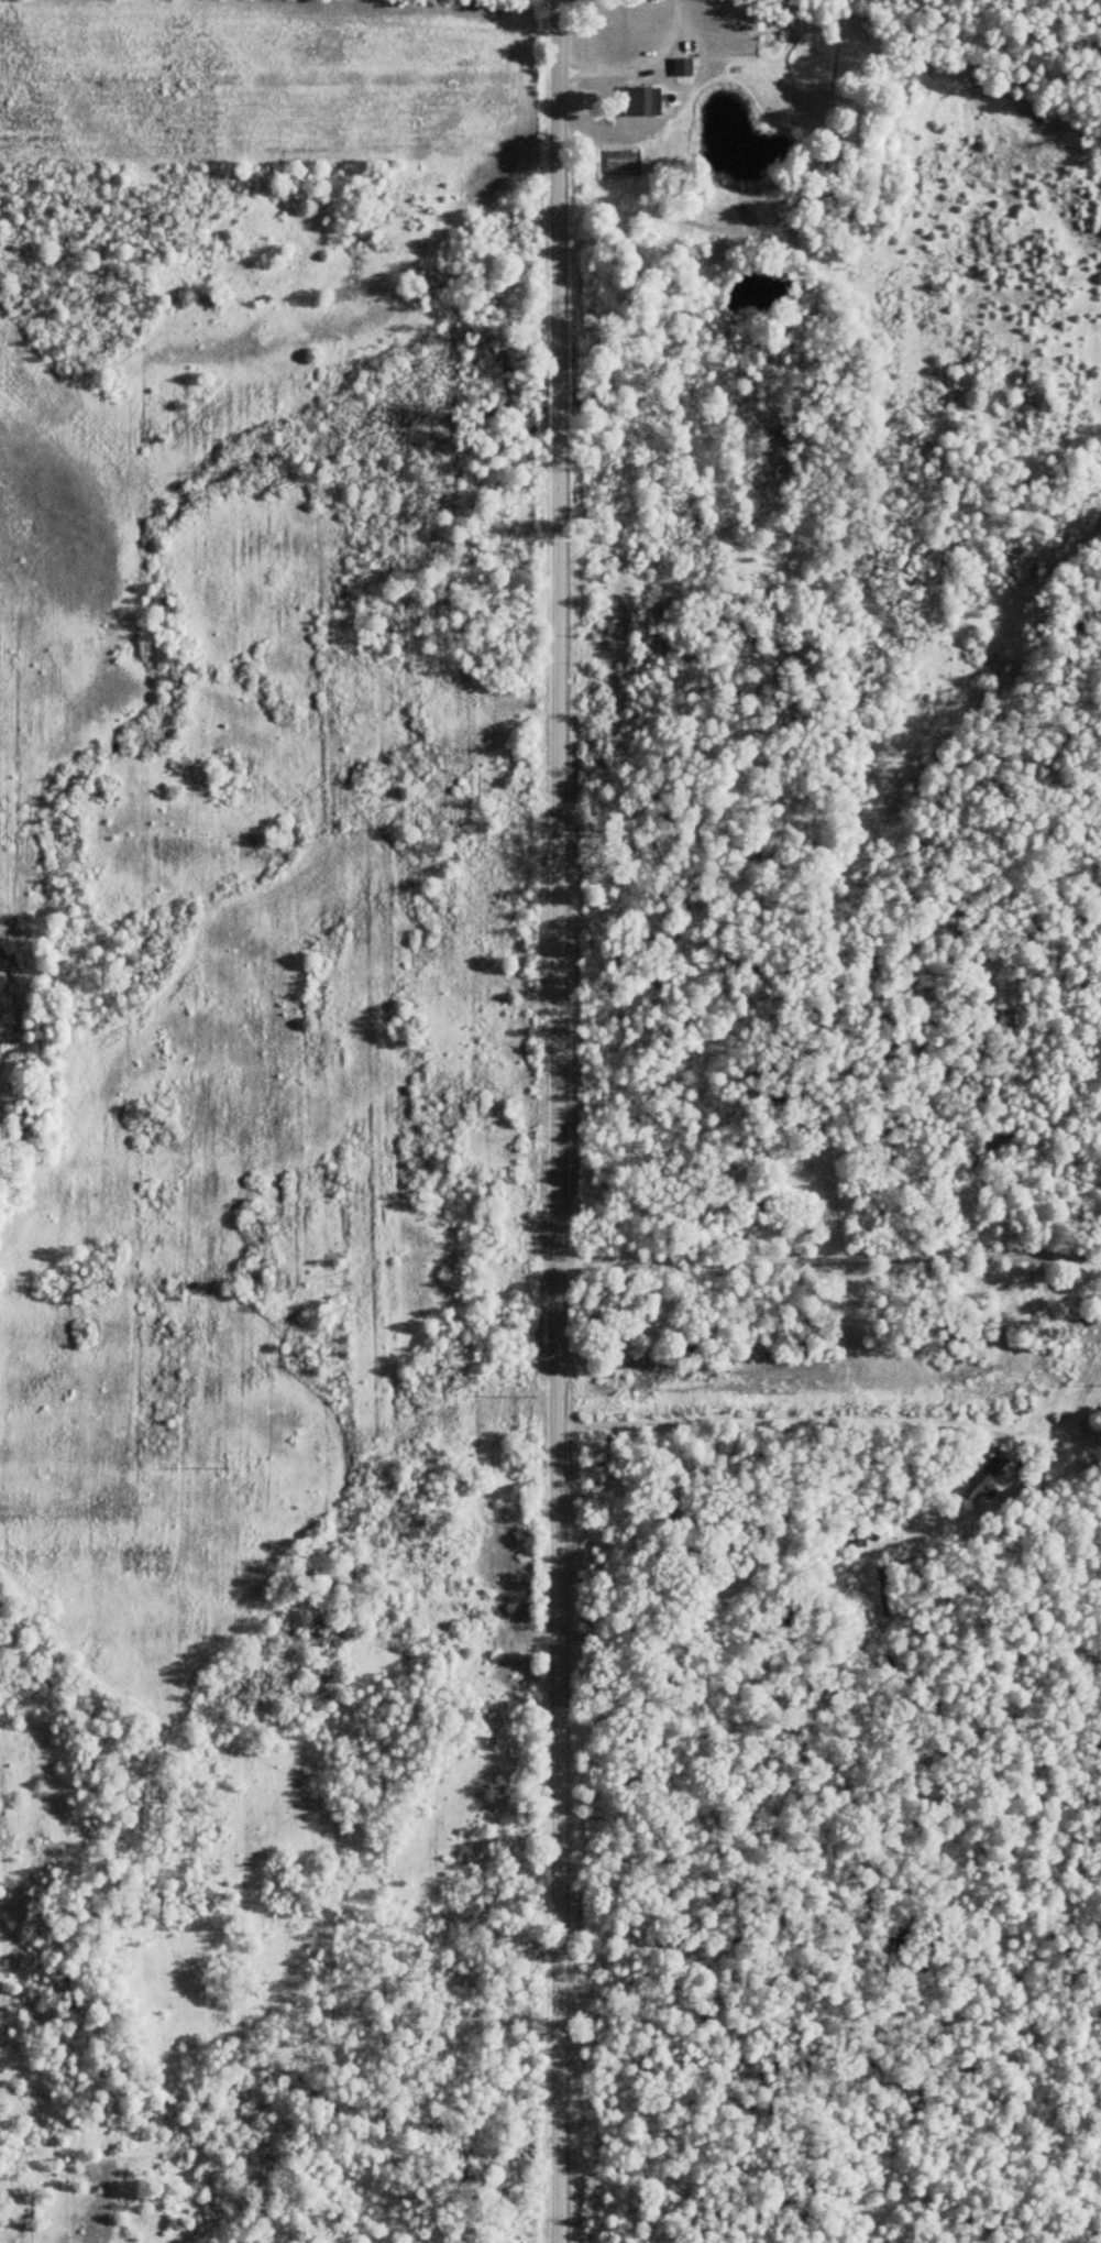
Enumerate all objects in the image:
road: (635, 61)
building: (684, 66)
building: (642, 100)
road: (557, 1120)
road: (829, 1257)
road: (778, 1421)
building: (986, 1475)
building: (857, 1536)
road: (829, 2169)

